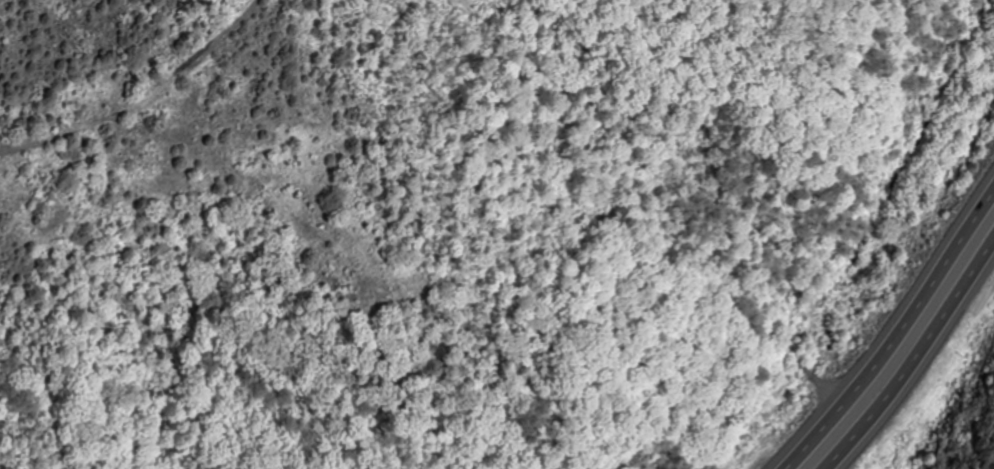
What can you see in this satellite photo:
road: (898, 339)
road: (916, 361)

